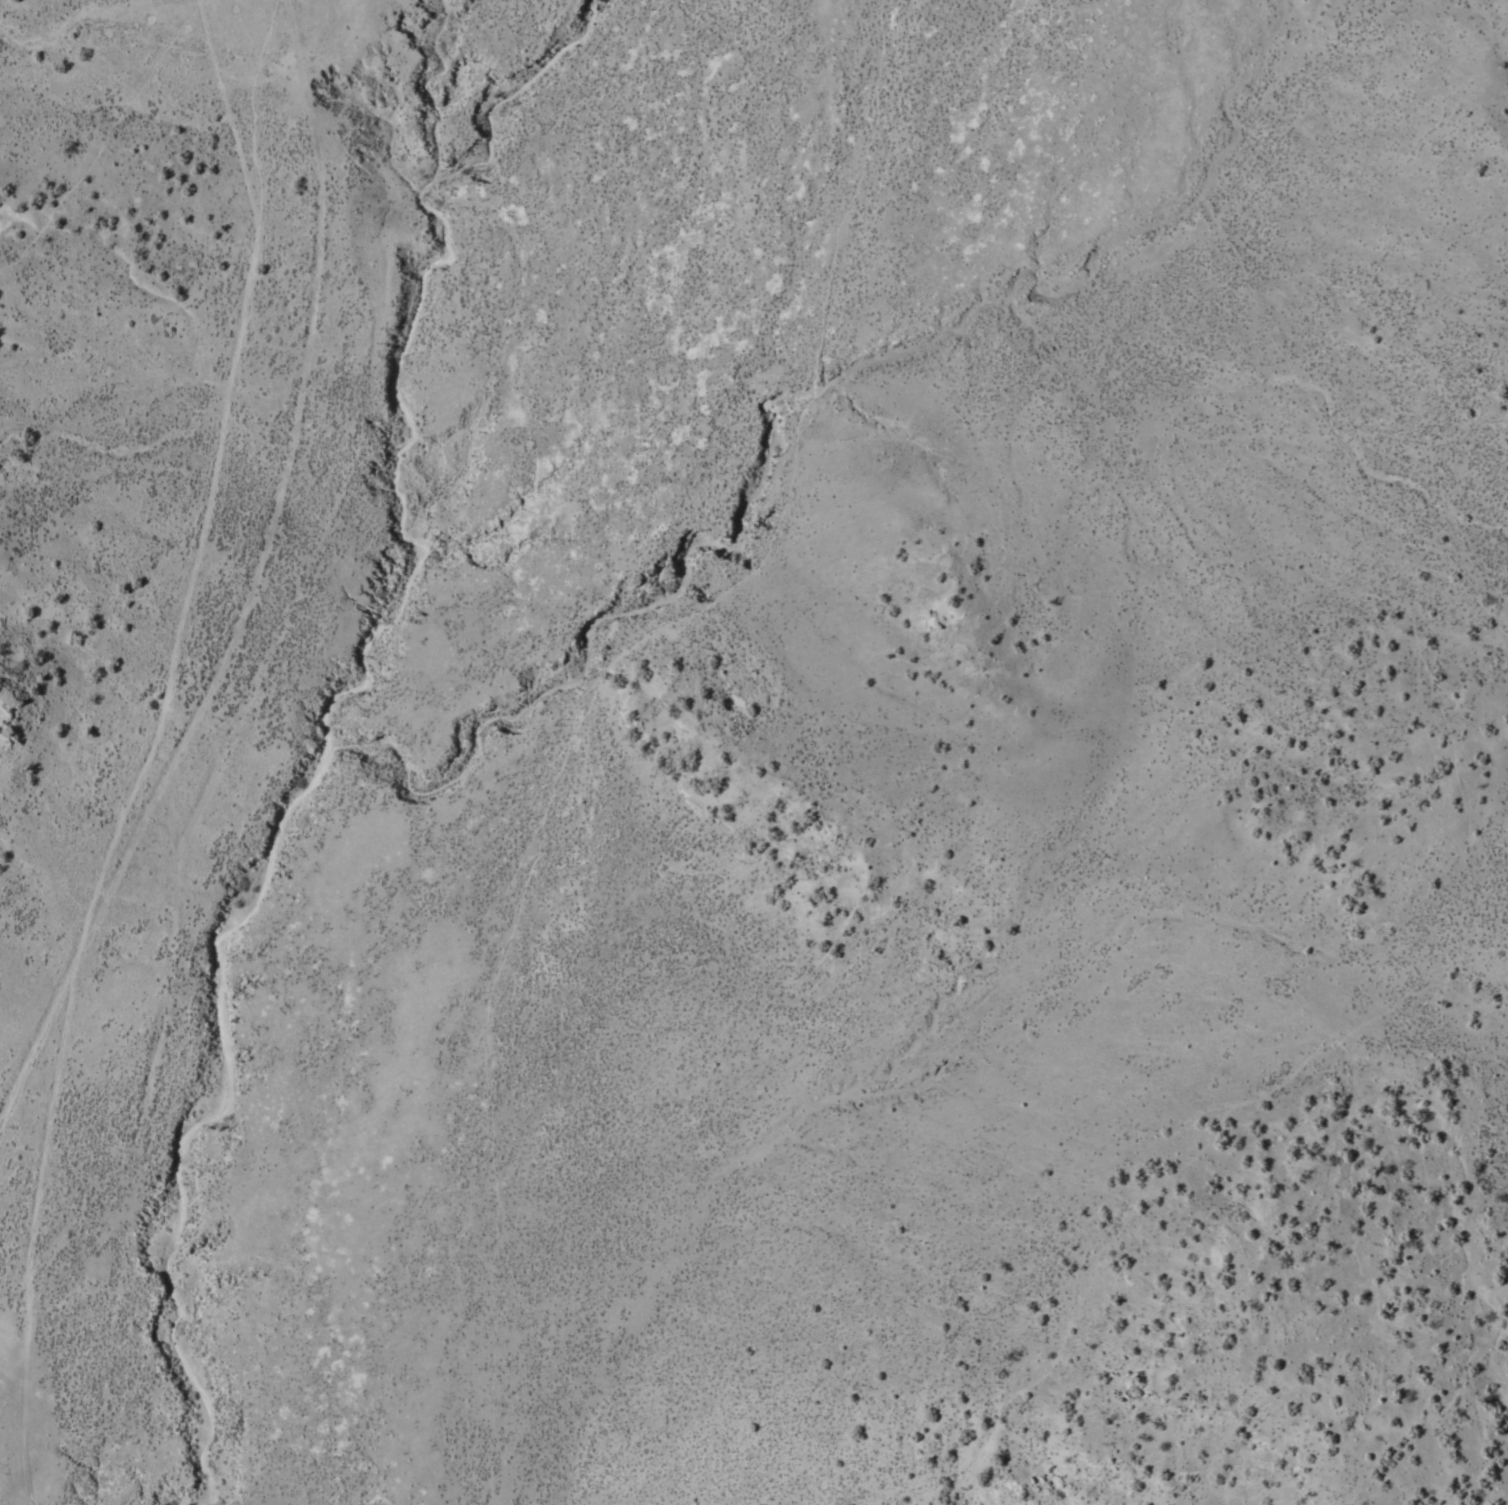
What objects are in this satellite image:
road: (423, 54)
road: (267, 547)

